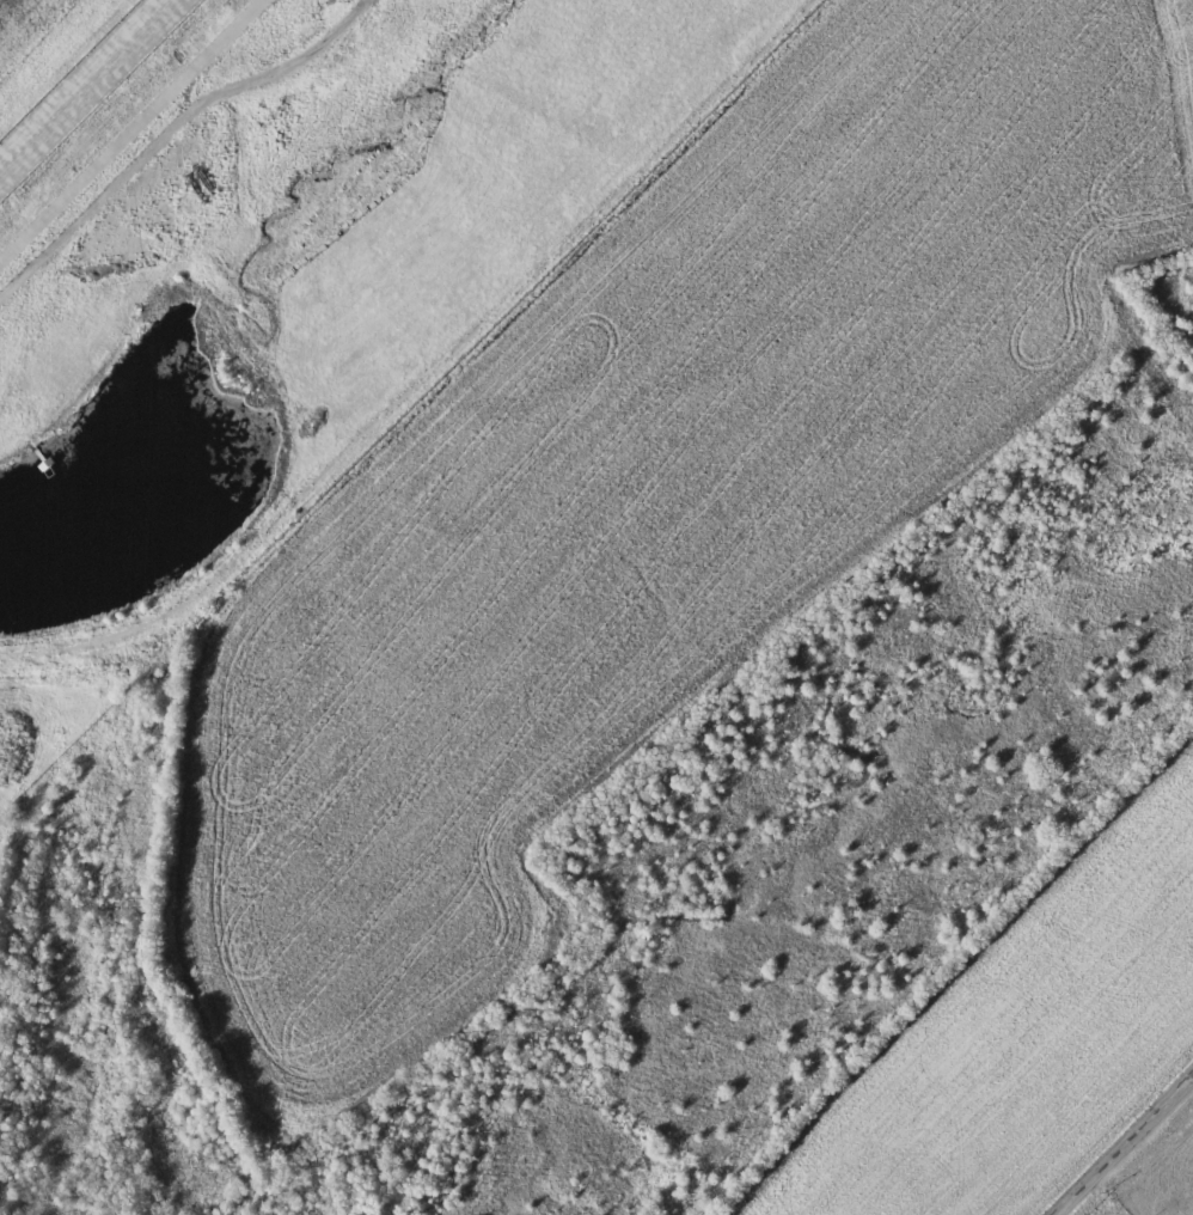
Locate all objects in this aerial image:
road: (1125, 1146)

